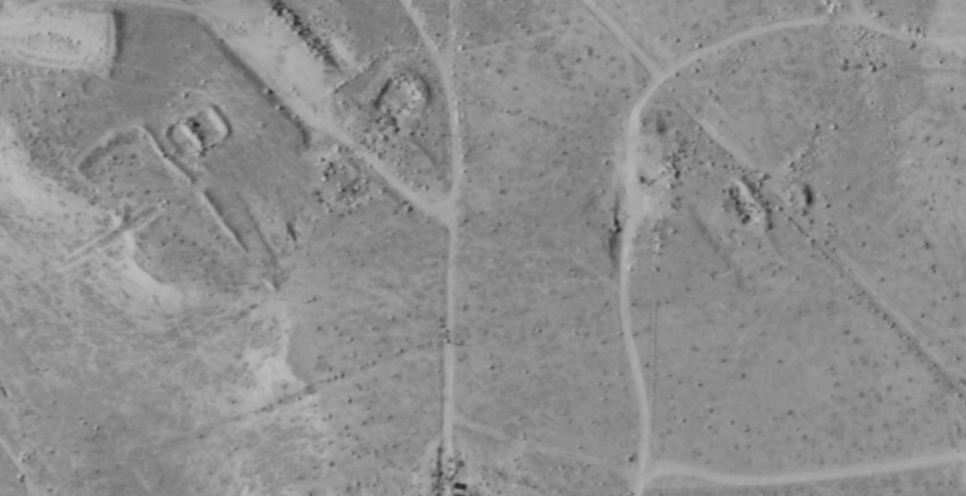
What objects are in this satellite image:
road: (780, 204)

